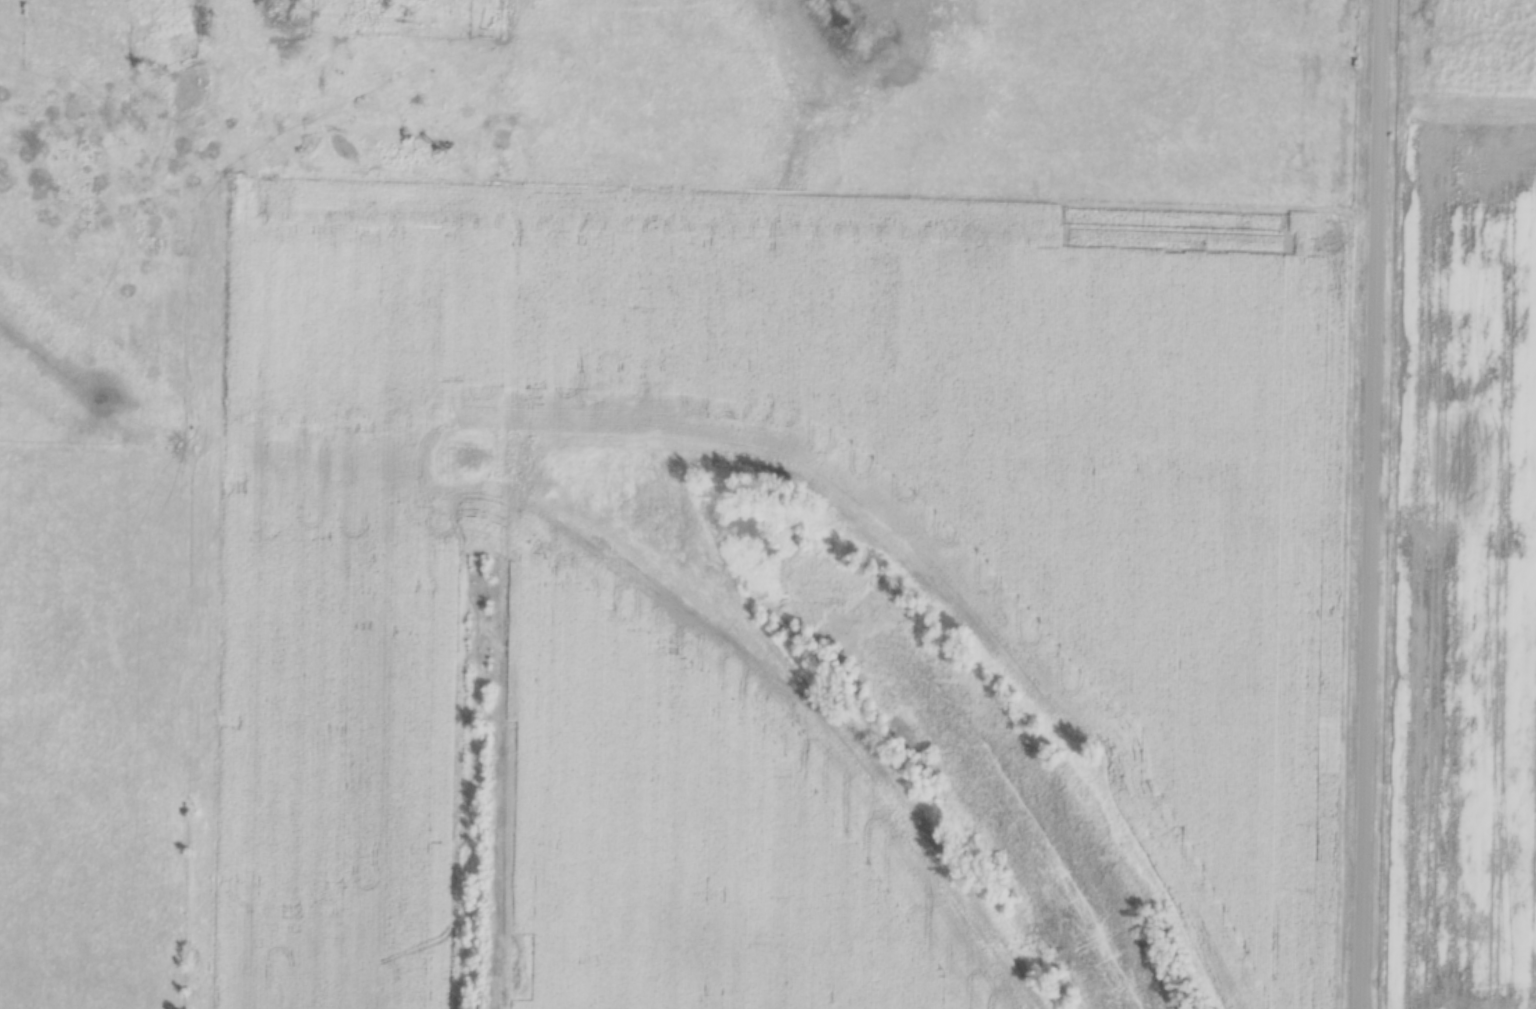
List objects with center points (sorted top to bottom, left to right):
road: (1367, 504)

